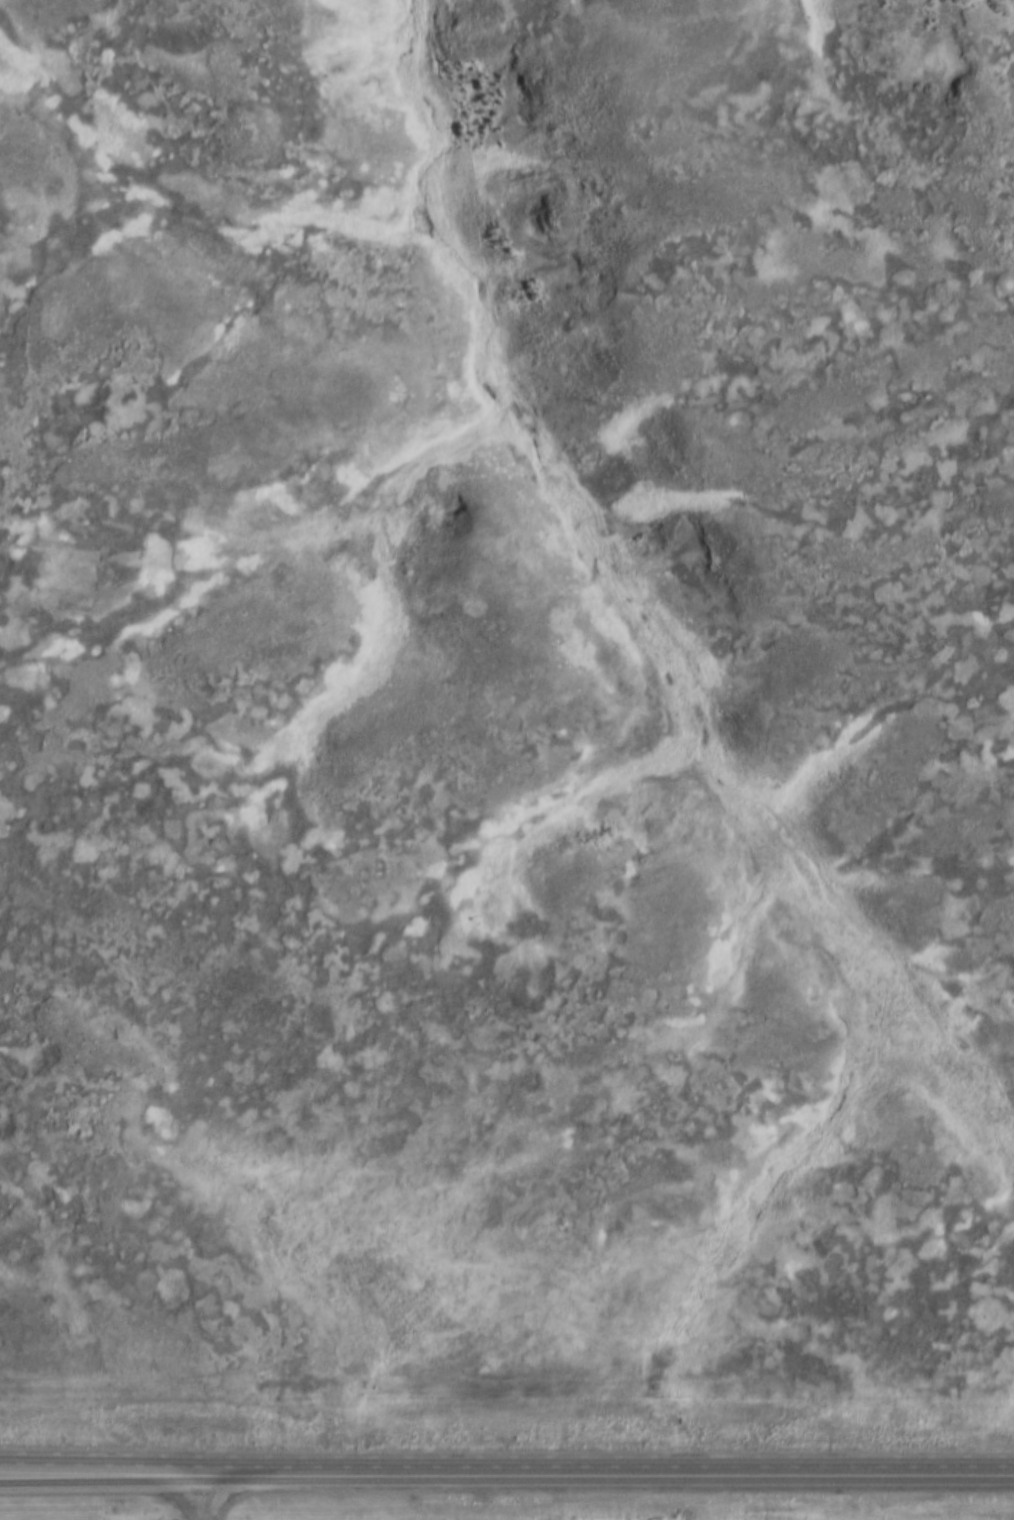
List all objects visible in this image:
road: (506, 1472)
road: (201, 1498)

